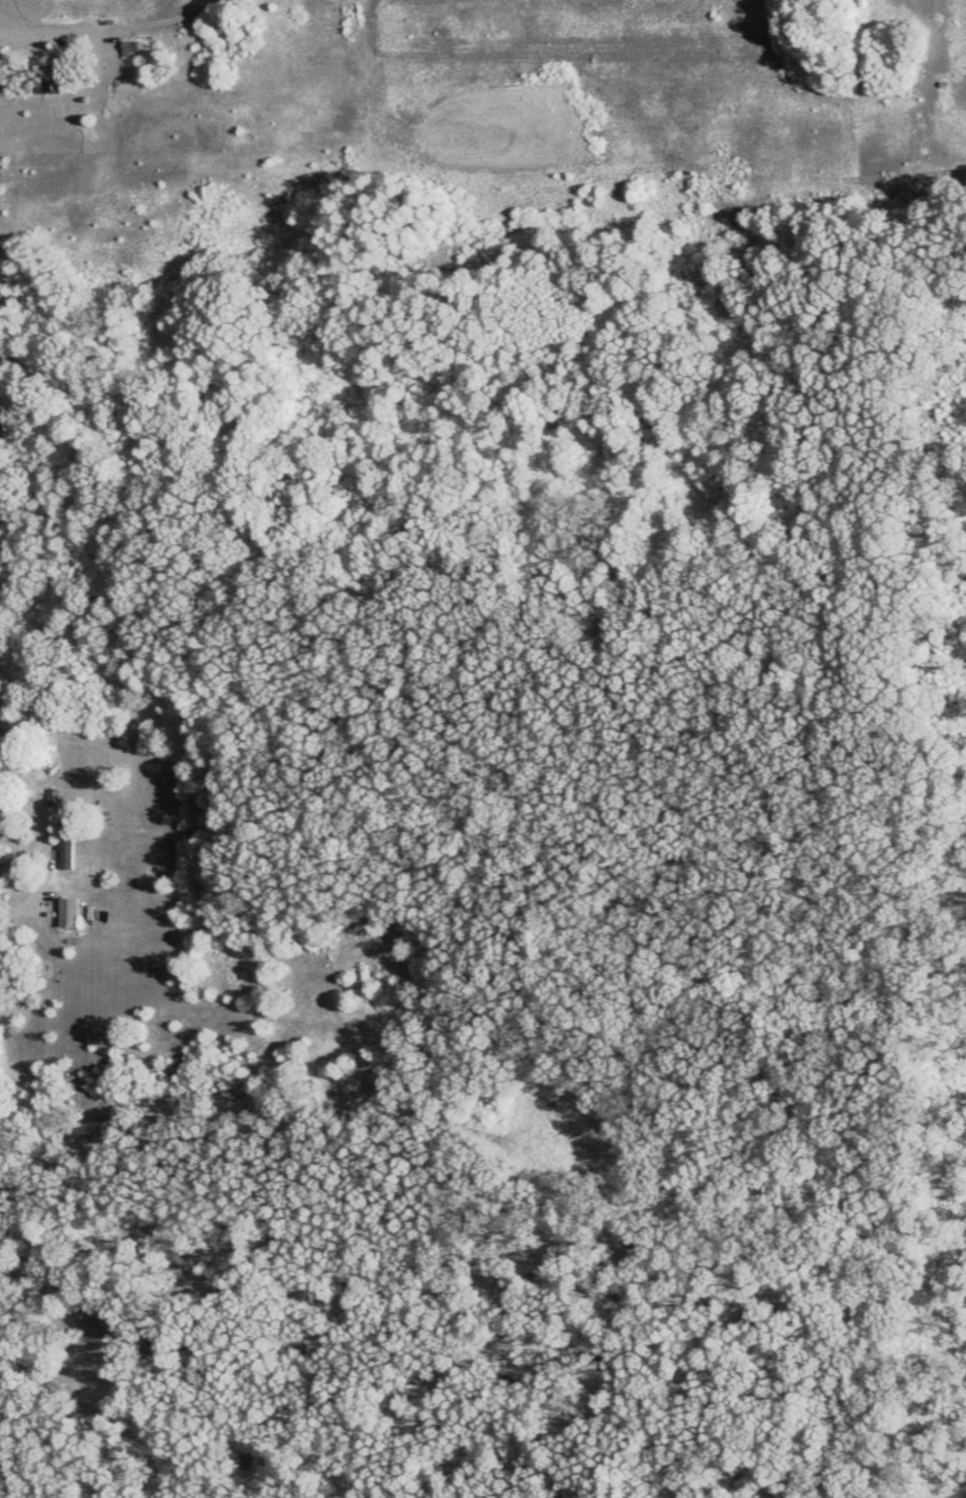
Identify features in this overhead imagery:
building: (42, 82)
building: (101, 1328)

